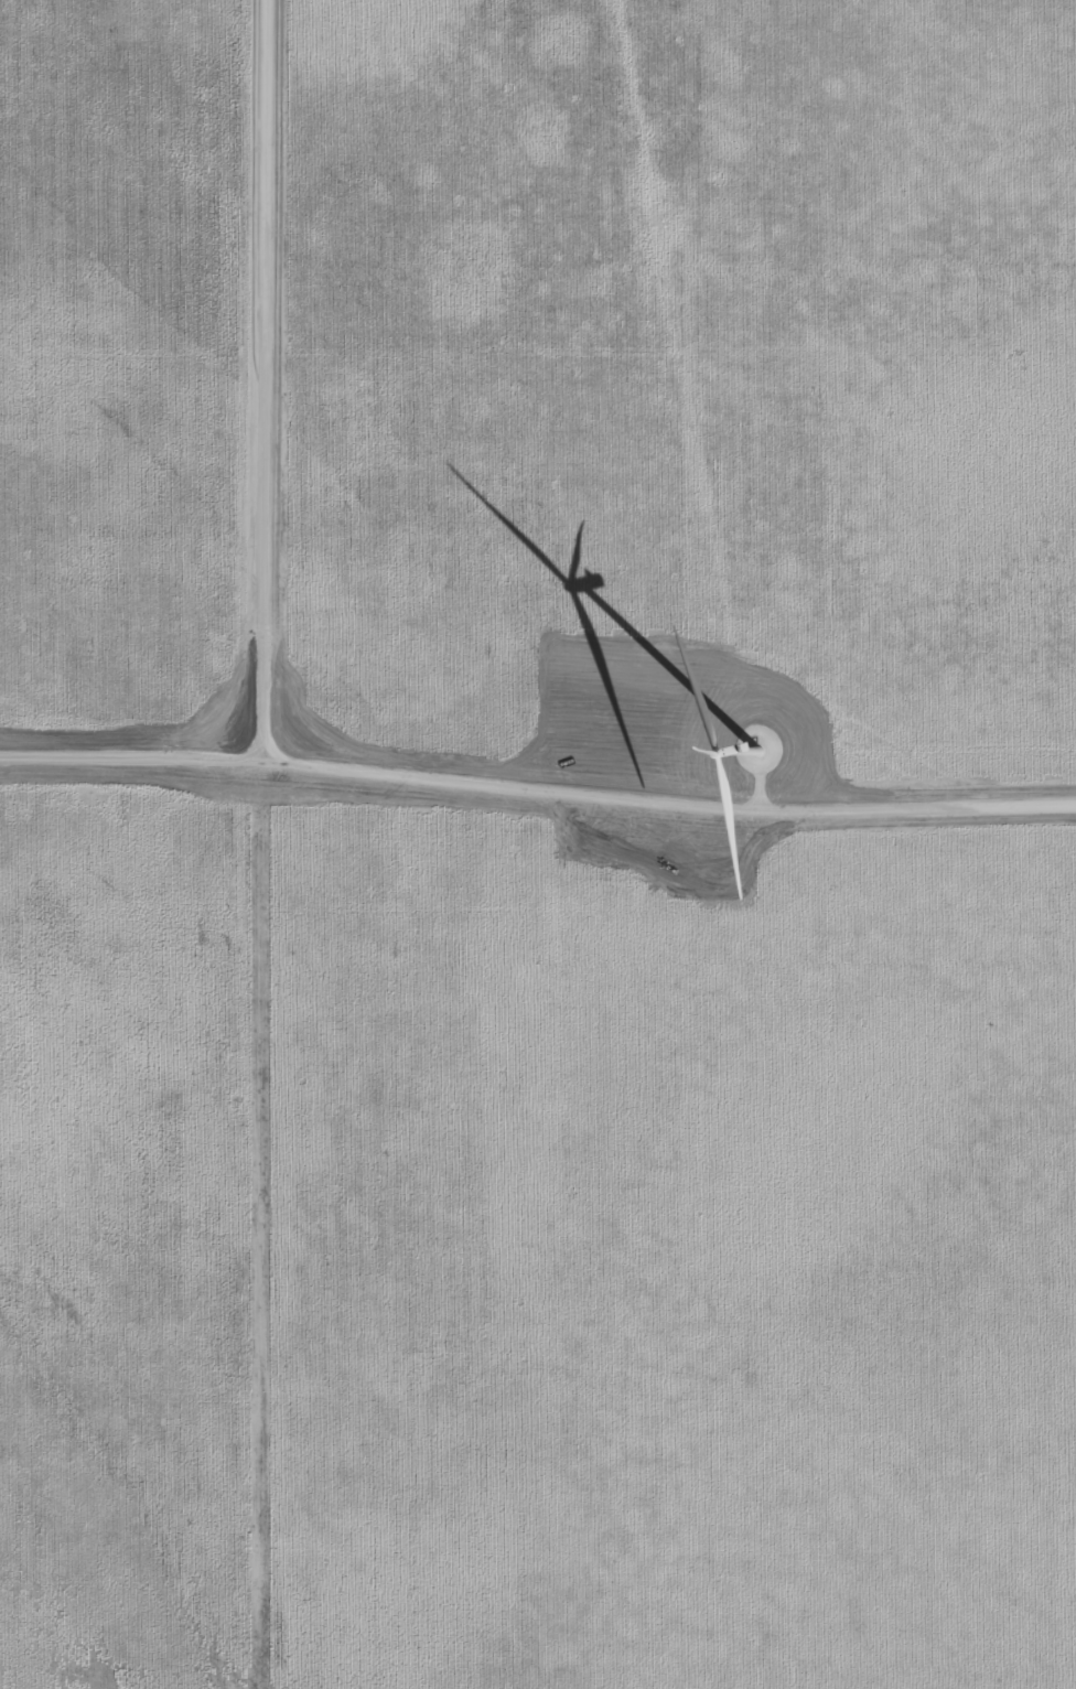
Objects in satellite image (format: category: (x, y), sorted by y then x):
wind turbine: (761, 734)
road: (204, 845)
road: (100, 1014)

